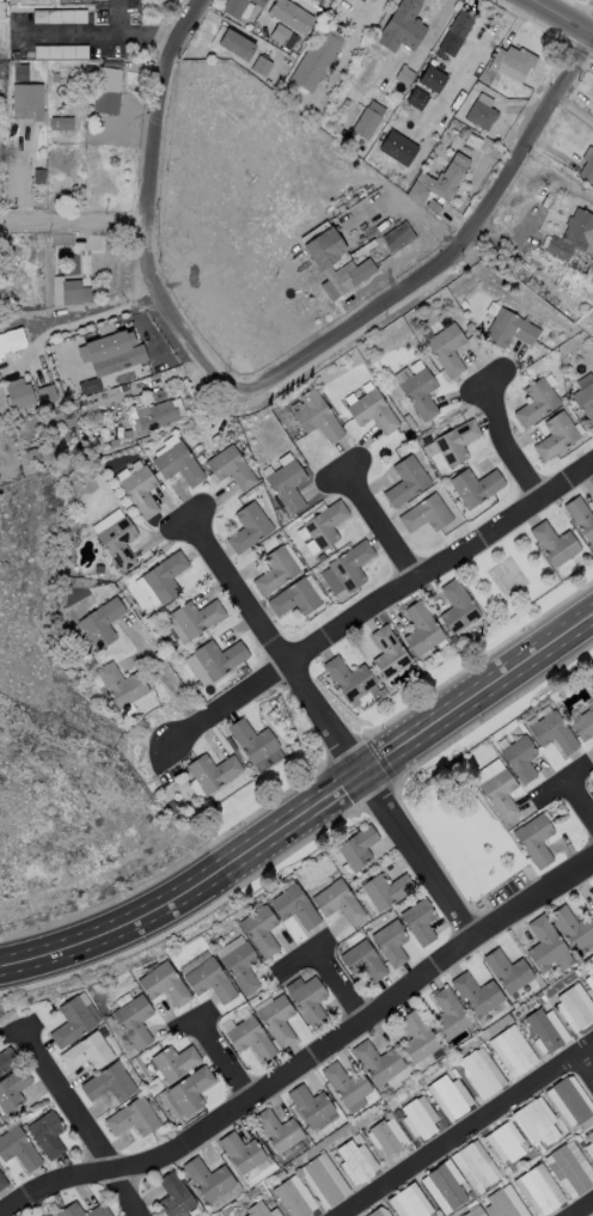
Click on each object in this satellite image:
building: (88, 1)
building: (66, 2)
building: (258, 2)
building: (325, 2)
building: (234, 7)
building: (1, 10)
road: (563, 16)
building: (59, 17)
building: (293, 18)
road: (360, 30)
road: (130, 32)
building: (402, 32)
road: (73, 35)
building: (280, 35)
building: (456, 42)
building: (237, 45)
building: (61, 53)
building: (16, 55)
building: (373, 57)
building: (316, 60)
building: (513, 61)
building: (262, 67)
building: (22, 73)
building: (404, 75)
building: (55, 78)
building: (106, 84)
building: (420, 84)
building: (398, 87)
building: (591, 91)
building: (592, 97)
building: (27, 102)
building: (440, 103)
building: (295, 105)
road: (574, 109)
building: (81, 112)
building: (481, 116)
building: (72, 121)
building: (368, 121)
building: (336, 128)
building: (66, 135)
building: (587, 169)
building: (39, 177)
road: (23, 178)
building: (441, 181)
building: (433, 207)
road: (145, 210)
road: (72, 221)
building: (395, 234)
building: (571, 236)
building: (363, 238)
building: (61, 239)
building: (102, 246)
road: (460, 255)
building: (324, 261)
building: (533, 287)
building: (73, 293)
building: (463, 305)
road: (87, 318)
building: (509, 330)
building: (398, 341)
building: (4, 344)
building: (100, 349)
building: (447, 350)
building: (88, 385)
building: (45, 393)
building: (420, 395)
building: (22, 398)
building: (536, 403)
building: (585, 403)
building: (373, 413)
building: (157, 416)
building: (317, 417)
building: (409, 423)
building: (127, 434)
building: (103, 435)
building: (556, 436)
building: (457, 444)
road: (507, 446)
building: (32, 456)
building: (179, 465)
building: (231, 469)
building: (126, 470)
building: (406, 482)
building: (287, 487)
building: (475, 487)
building: (141, 493)
building: (426, 515)
building: (581, 518)
road: (378, 523)
building: (325, 525)
building: (249, 528)
building: (118, 543)
building: (554, 544)
building: (320, 557)
building: (350, 567)
building: (276, 572)
building: (165, 579)
building: (294, 599)
road: (378, 604)
building: (457, 609)
building: (197, 618)
building: (103, 623)
building: (421, 629)
building: (453, 640)
building: (387, 653)
building: (220, 659)
road: (157, 671)
building: (244, 671)
building: (348, 679)
building: (592, 682)
building: (592, 684)
building: (122, 685)
building: (583, 725)
road: (331, 729)
building: (554, 733)
building: (252, 741)
building: (520, 759)
building: (212, 772)
road: (558, 780)
road: (347, 781)
building: (592, 784)
building: (497, 792)
road: (577, 802)
road: (91, 820)
building: (534, 841)
building: (357, 849)
building: (592, 881)
building: (386, 891)
building: (338, 903)
building: (295, 908)
building: (420, 922)
building: (573, 929)
building: (261, 931)
building: (391, 943)
building: (544, 945)
road: (45, 951)
road: (299, 953)
building: (363, 963)
building: (242, 968)
building: (507, 972)
building: (591, 974)
building: (210, 982)
road: (335, 982)
building: (165, 985)
building: (477, 997)
building: (310, 1003)
building: (574, 1008)
building: (450, 1015)
road: (190, 1019)
building: (277, 1021)
building: (69, 1022)
building: (134, 1022)
road: (16, 1026)
building: (543, 1031)
building: (417, 1038)
building: (251, 1039)
building: (86, 1051)
building: (494, 1052)
building: (512, 1053)
road: (305, 1055)
road: (219, 1057)
building: (6, 1061)
building: (175, 1063)
building: (378, 1063)
road: (583, 1070)
building: (479, 1074)
building: (108, 1082)
building: (346, 1084)
building: (12, 1089)
building: (191, 1090)
building: (450, 1096)
building: (570, 1100)
building: (426, 1101)
building: (310, 1106)
building: (130, 1117)
building: (389, 1117)
building: (418, 1120)
road: (78, 1122)
building: (539, 1123)
road: (469, 1129)
building: (277, 1131)
building: (45, 1133)
building: (591, 1137)
building: (385, 1138)
building: (359, 1139)
building: (507, 1144)
building: (17, 1148)
building: (538, 1148)
building: (242, 1154)
building: (306, 1156)
building: (355, 1162)
building: (476, 1166)
building: (288, 1168)
building: (507, 1171)
building: (568, 1171)
building: (1, 1181)
building: (214, 1181)
building: (323, 1183)
building: (445, 1187)
building: (538, 1192)
building: (173, 1196)
building: (470, 1197)
building: (291, 1199)
building: (409, 1204)
building: (270, 1205)
building: (500, 1205)
building: (69, 1208)
road: (581, 1208)
building: (258, 1210)
building: (475, 1212)
building: (375, 1214)

